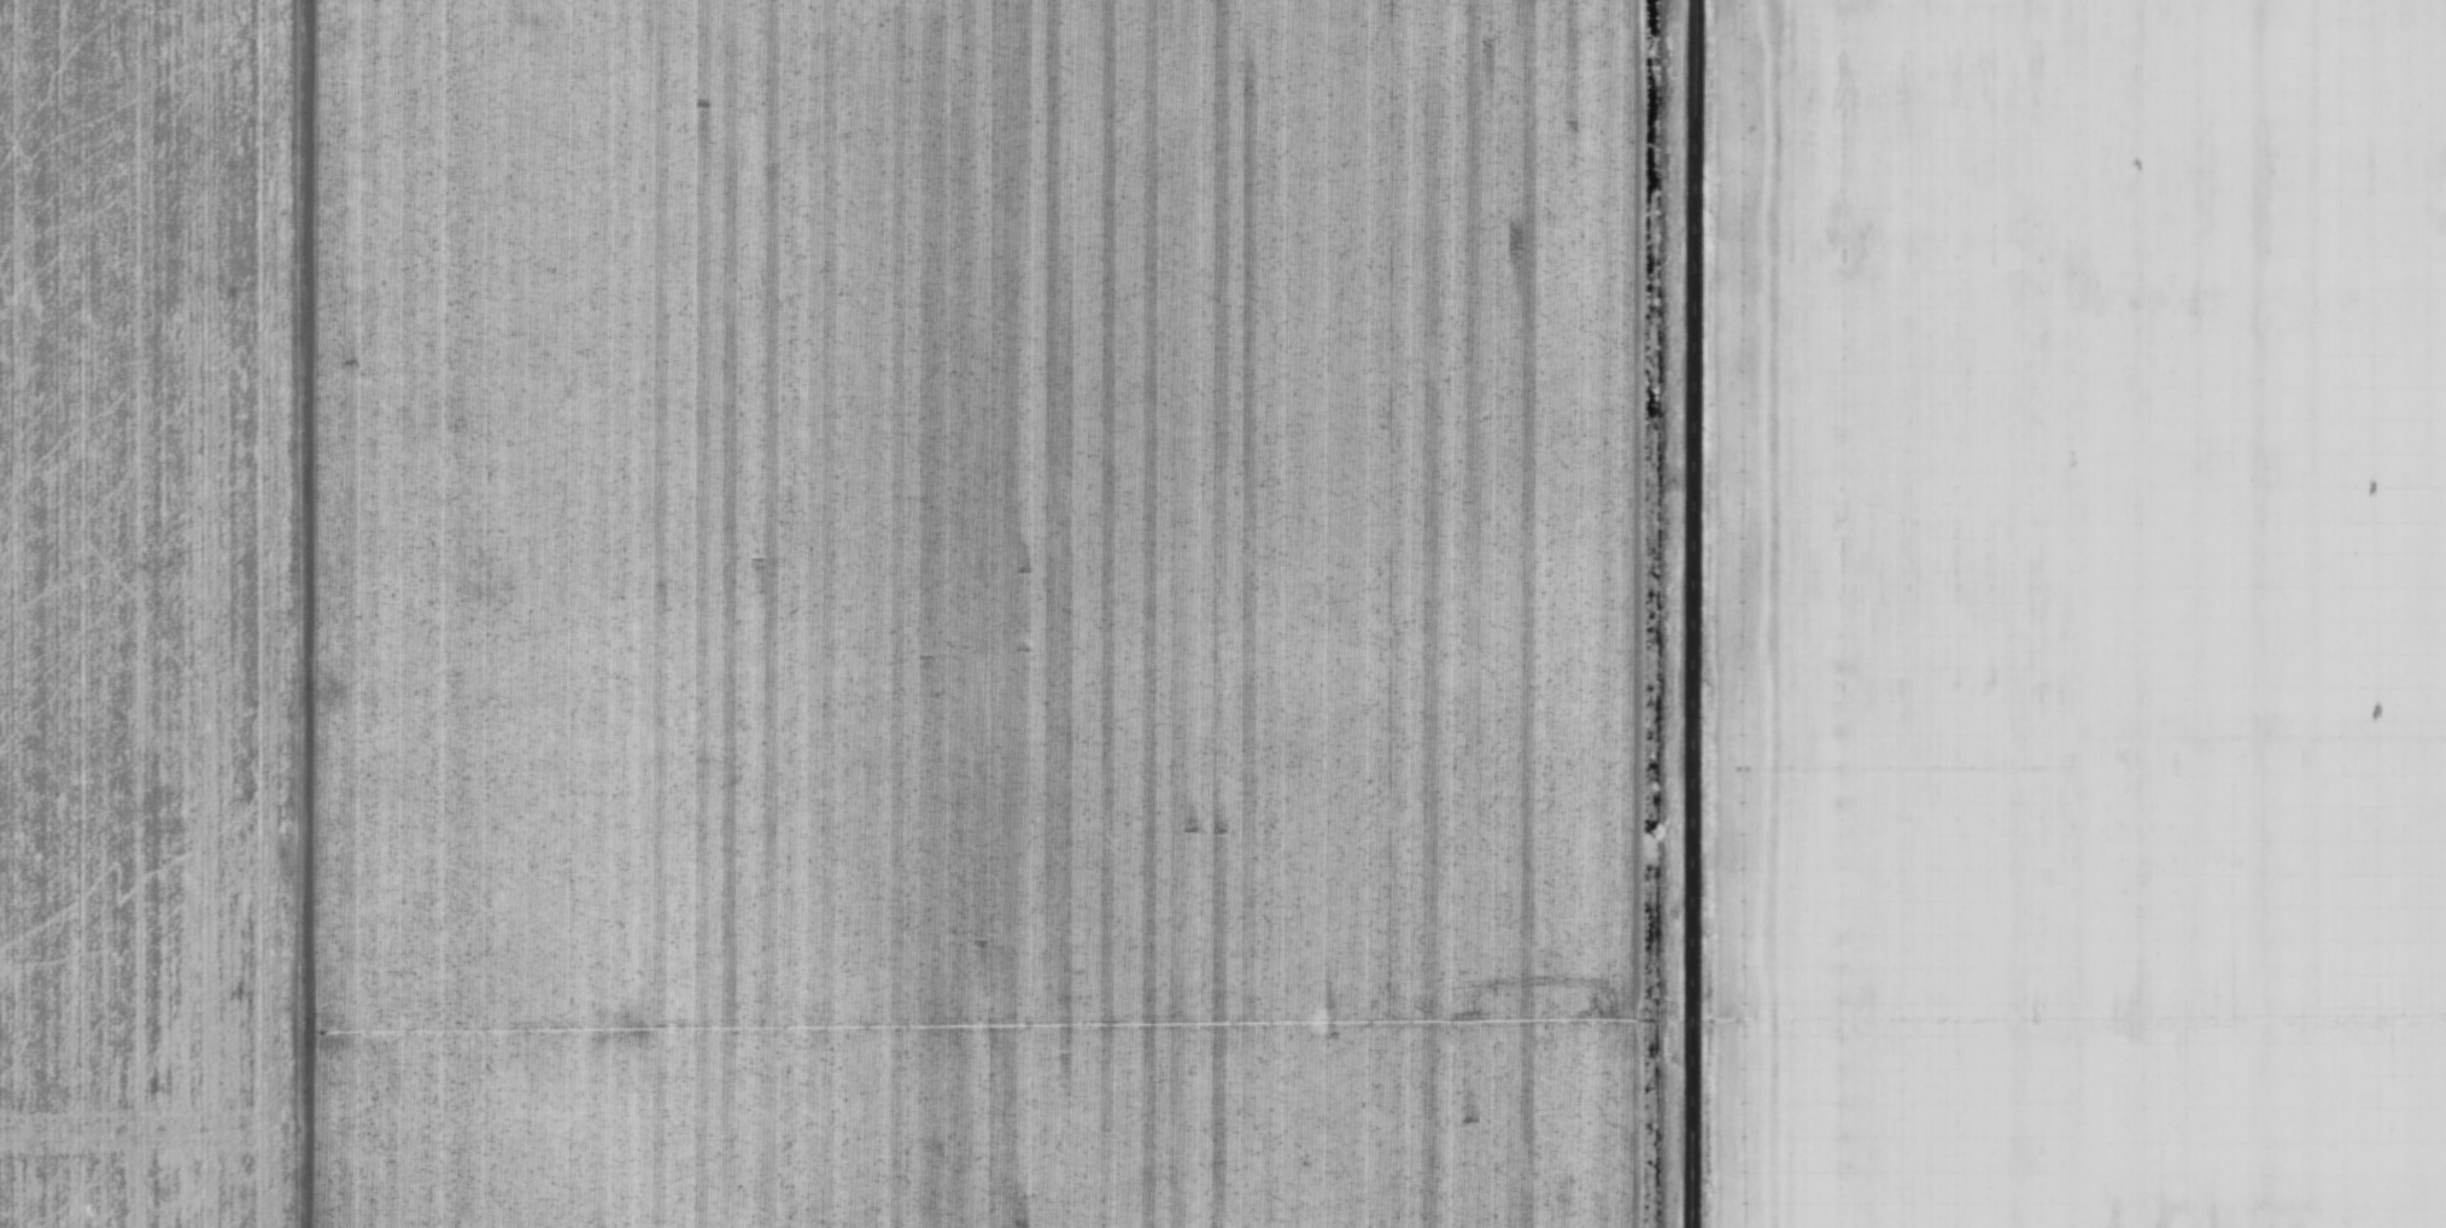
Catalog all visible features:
crop: (152, 613)
crop: (972, 613)
road: (1686, 613)
crop: (2081, 614)

